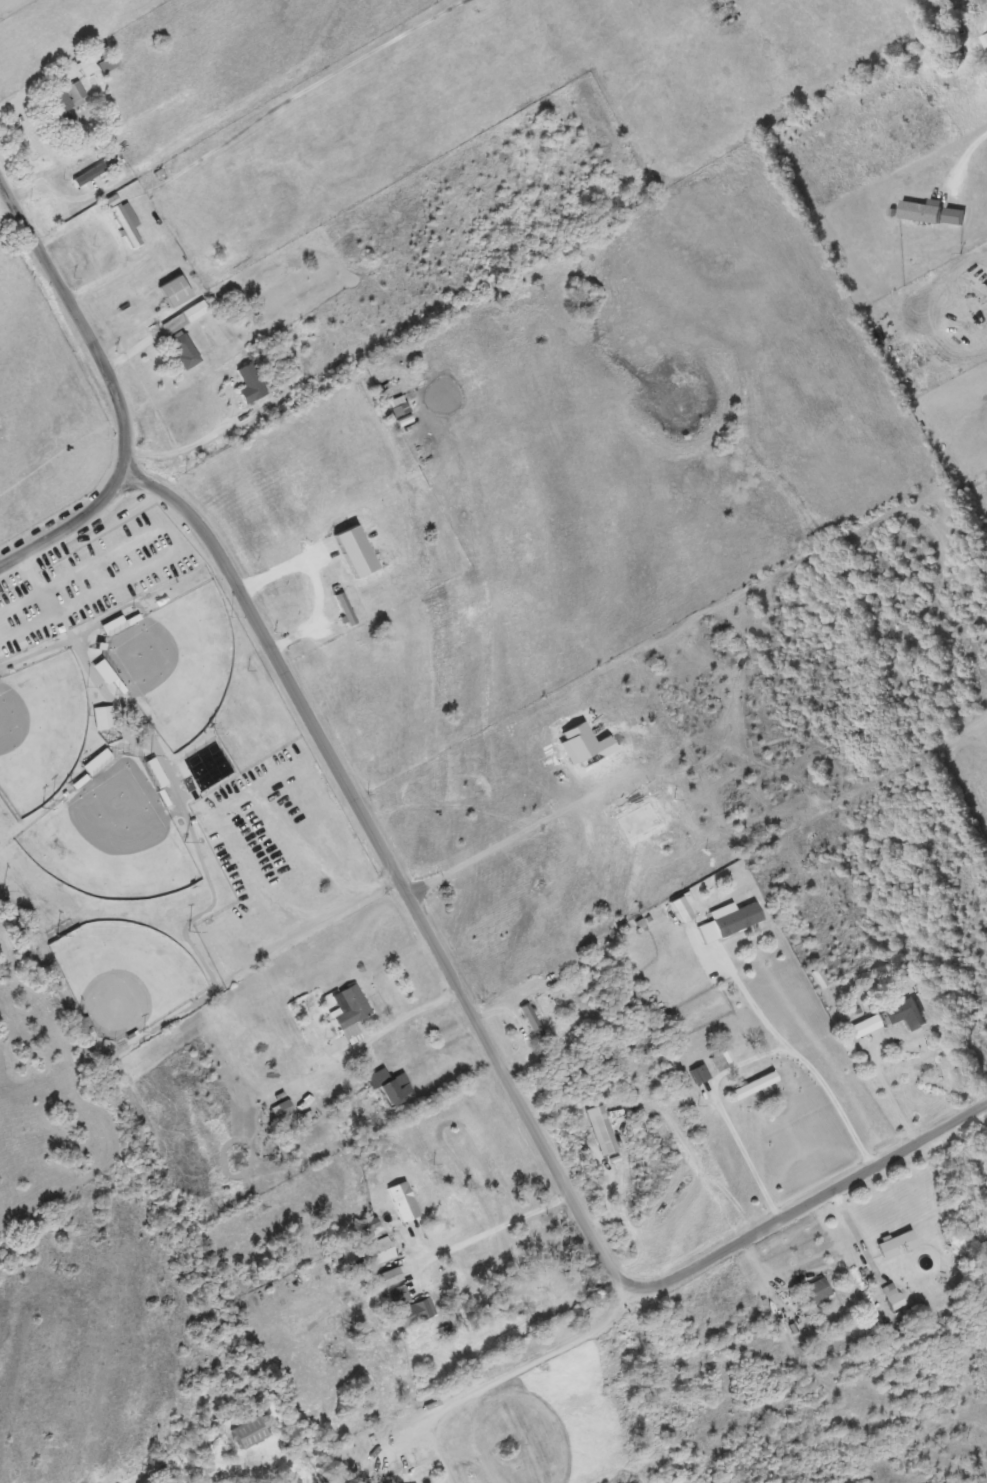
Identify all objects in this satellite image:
building: (108, 63)
building: (88, 65)
building: (69, 102)
building: (922, 209)
building: (959, 215)
building: (127, 220)
building: (177, 290)
building: (186, 316)
building: (186, 349)
building: (252, 383)
road: (120, 393)
building: (400, 408)
building: (346, 608)
park: (185, 669)
building: (105, 717)
park: (46, 733)
park: (124, 856)
road: (402, 888)
building: (732, 920)
road: (762, 1007)
building: (906, 1013)
building: (349, 1017)
building: (535, 1025)
building: (723, 1059)
road: (758, 1067)
building: (701, 1073)
building: (755, 1084)
building: (395, 1085)
building: (287, 1110)
road: (828, 1196)
building: (405, 1200)
road: (494, 1230)
building: (895, 1240)
building: (380, 1250)
building: (392, 1275)
building: (816, 1290)
building: (400, 1293)
building: (894, 1295)
building: (417, 1311)
building: (251, 1431)

